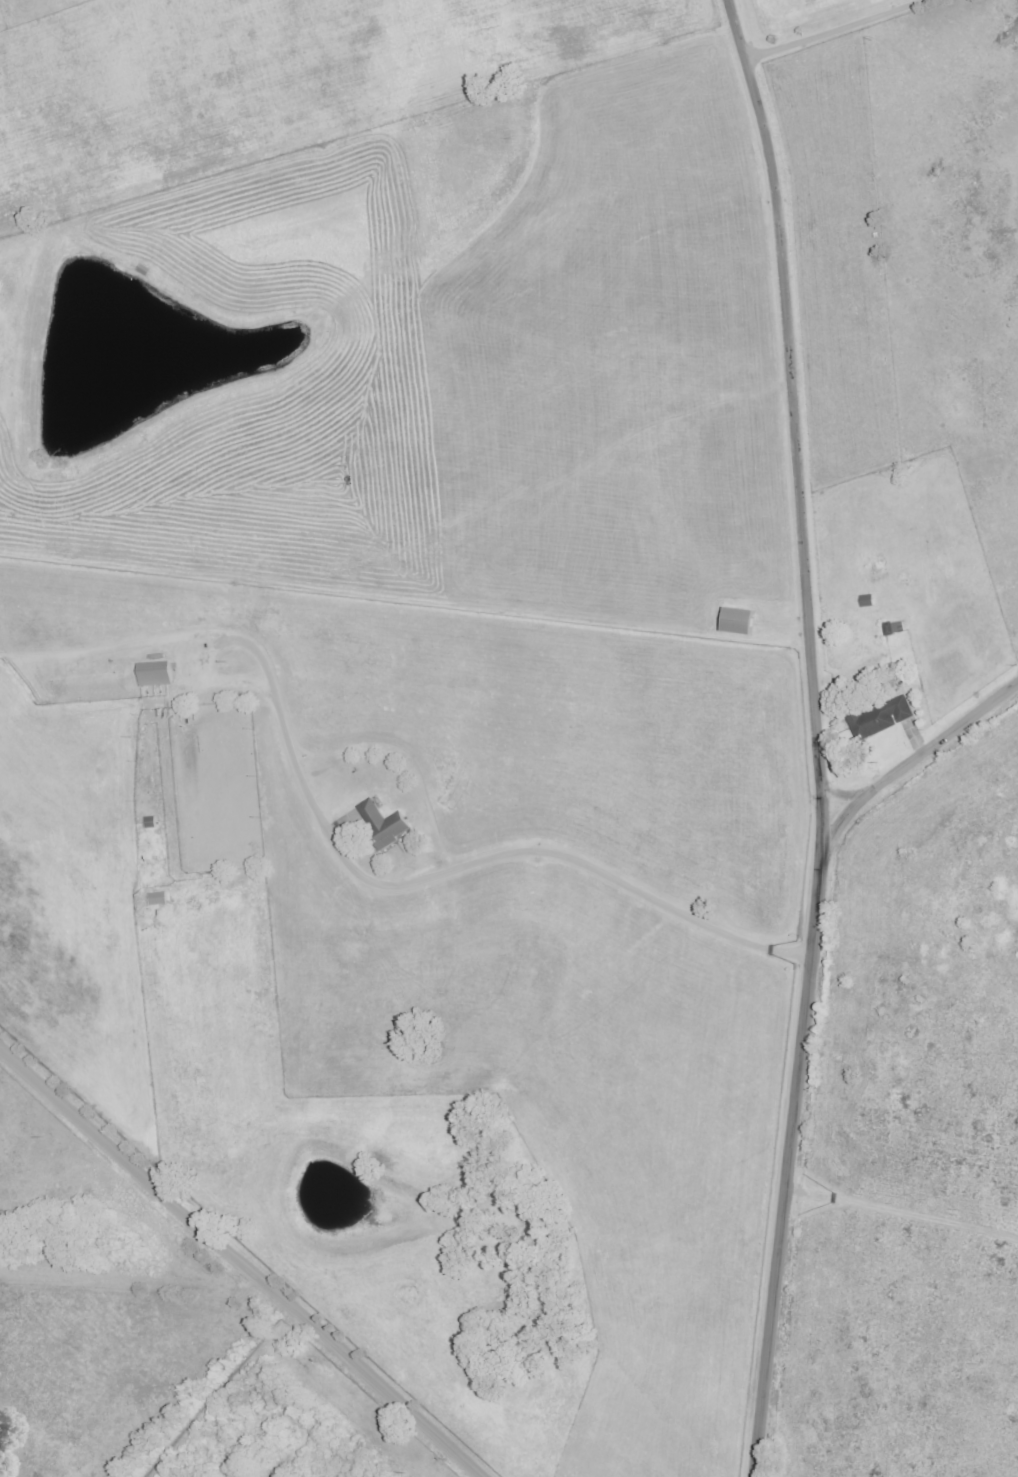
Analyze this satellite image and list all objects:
road: (747, 60)
building: (737, 621)
building: (155, 674)
building: (883, 718)
road: (925, 757)
road: (827, 799)
building: (382, 824)
road: (567, 849)
road: (238, 1262)

